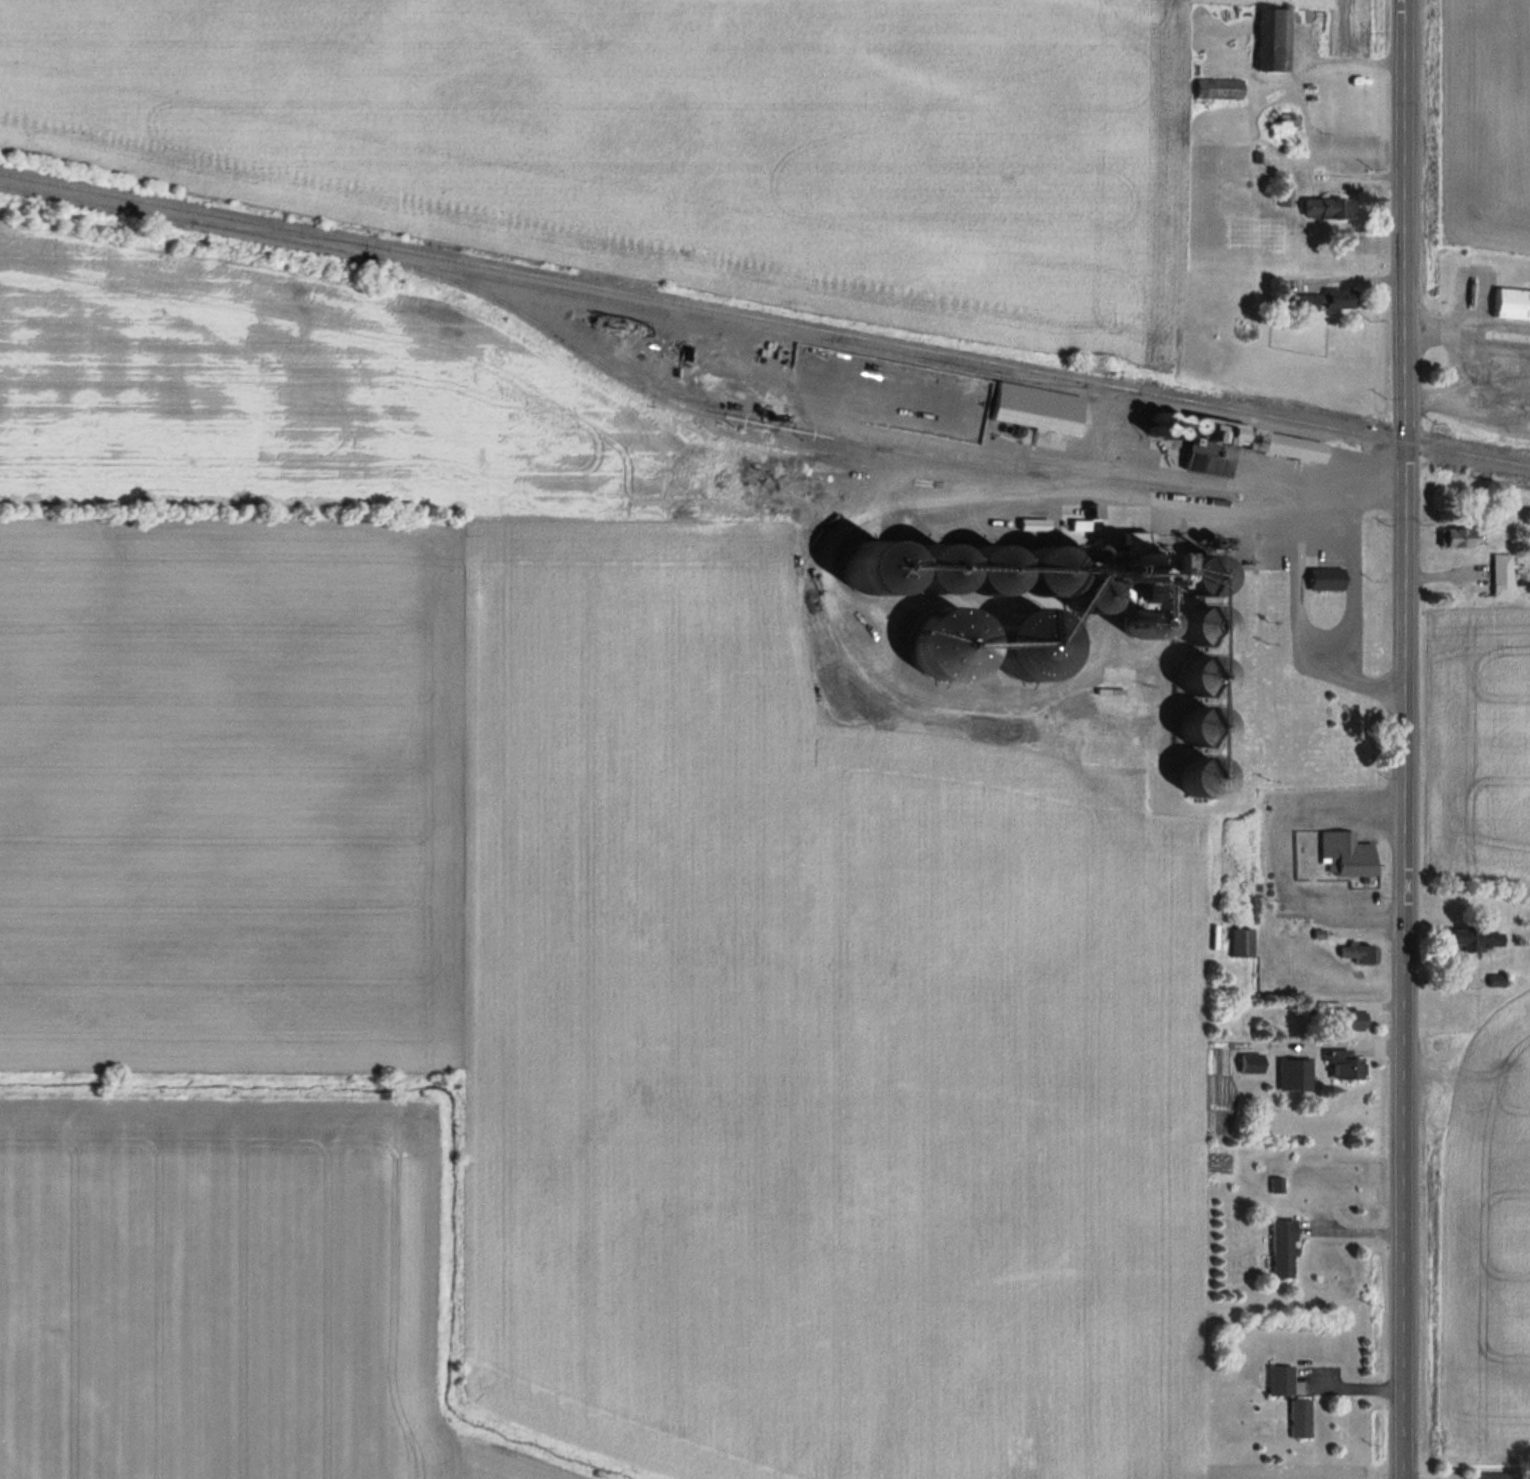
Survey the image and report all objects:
building: (1276, 38)
building: (1218, 89)
building: (1282, 125)
building: (1327, 209)
building: (1340, 298)
building: (1310, 302)
building: (1512, 302)
railway: (764, 321)
building: (1035, 406)
railway: (735, 419)
building: (1231, 433)
building: (1290, 446)
building: (1457, 536)
building: (929, 569)
building: (1501, 574)
building: (1325, 578)
building: (996, 580)
building: (1088, 594)
road: (1406, 739)
building: (1198, 776)
building: (1346, 853)
building: (1476, 938)
building: (1240, 942)
building: (1358, 952)
building: (1345, 1016)
building: (1343, 1063)
building: (1293, 1073)
road: (1350, 1227)
building: (1282, 1247)
building: (1278, 1380)
building: (1298, 1418)
building: (1489, 1475)

